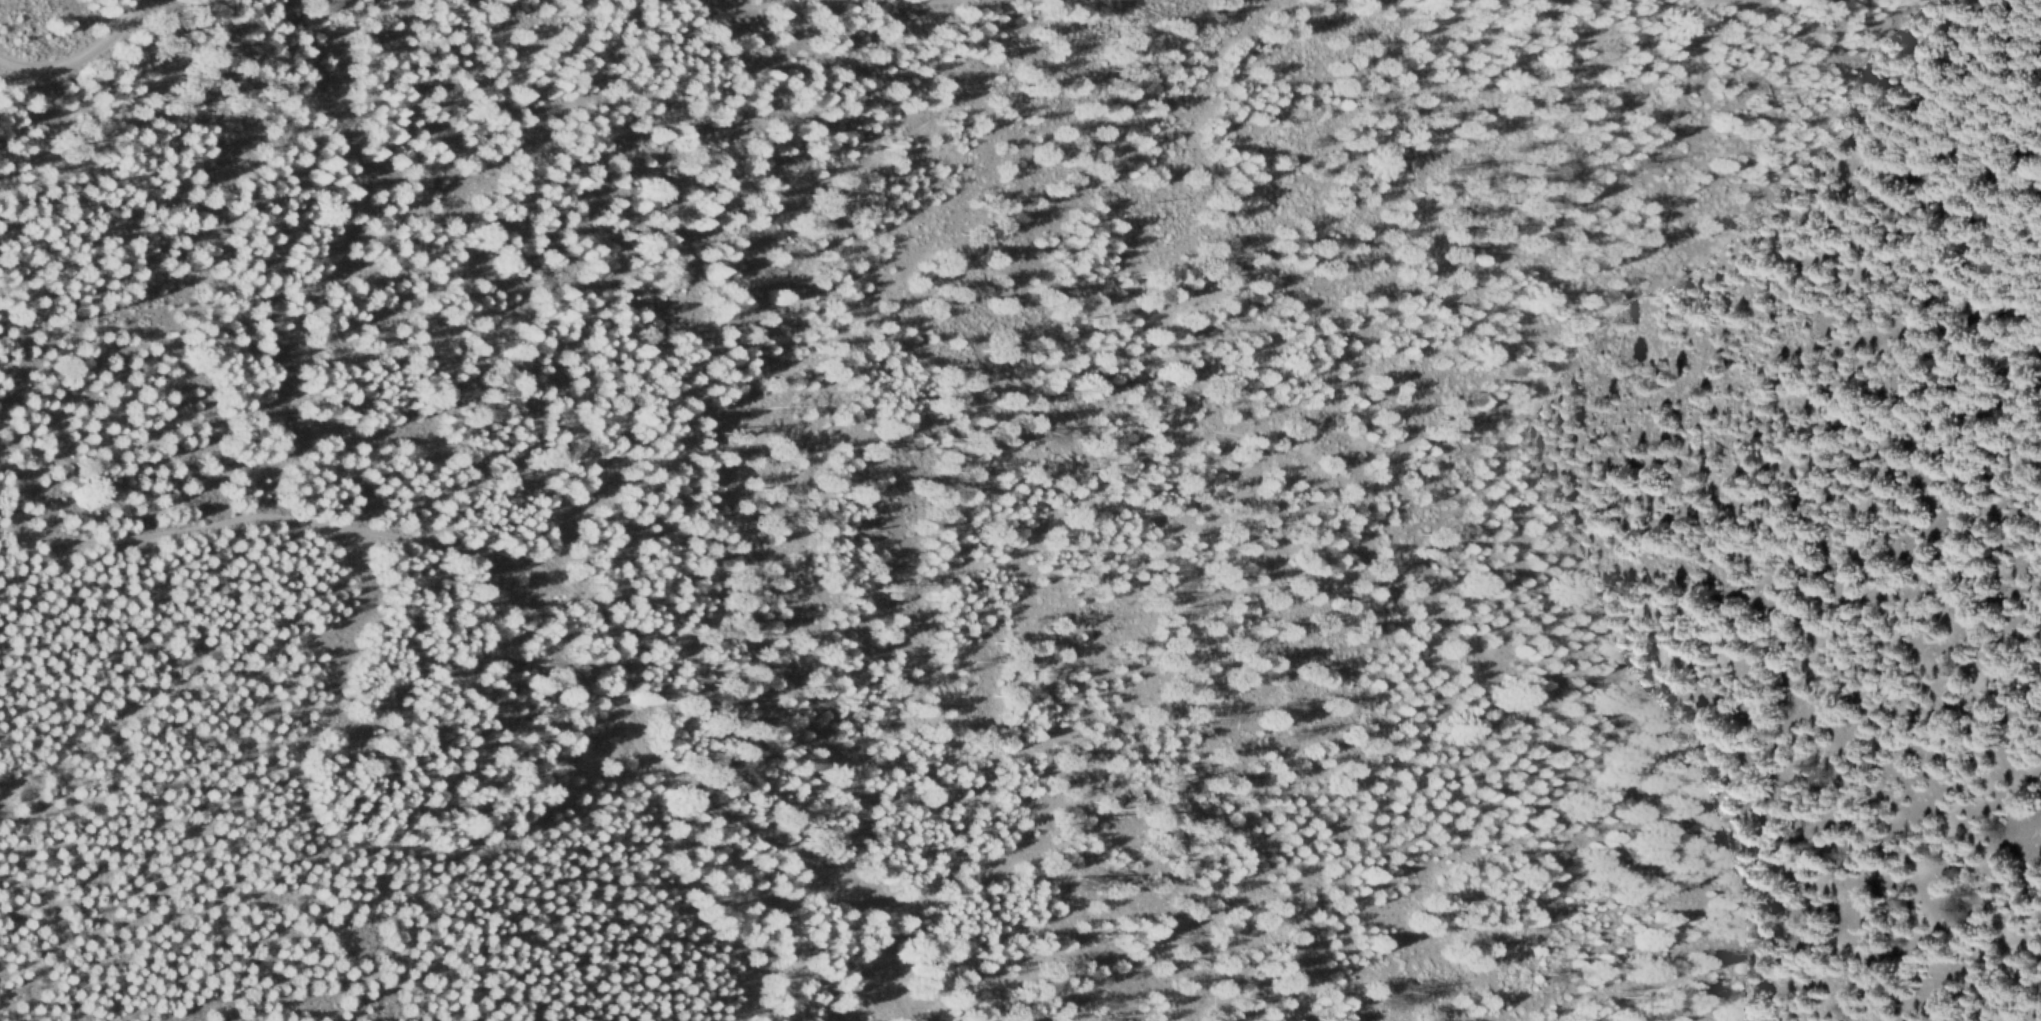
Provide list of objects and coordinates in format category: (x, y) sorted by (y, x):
road: (77, 59)
road: (559, 597)

